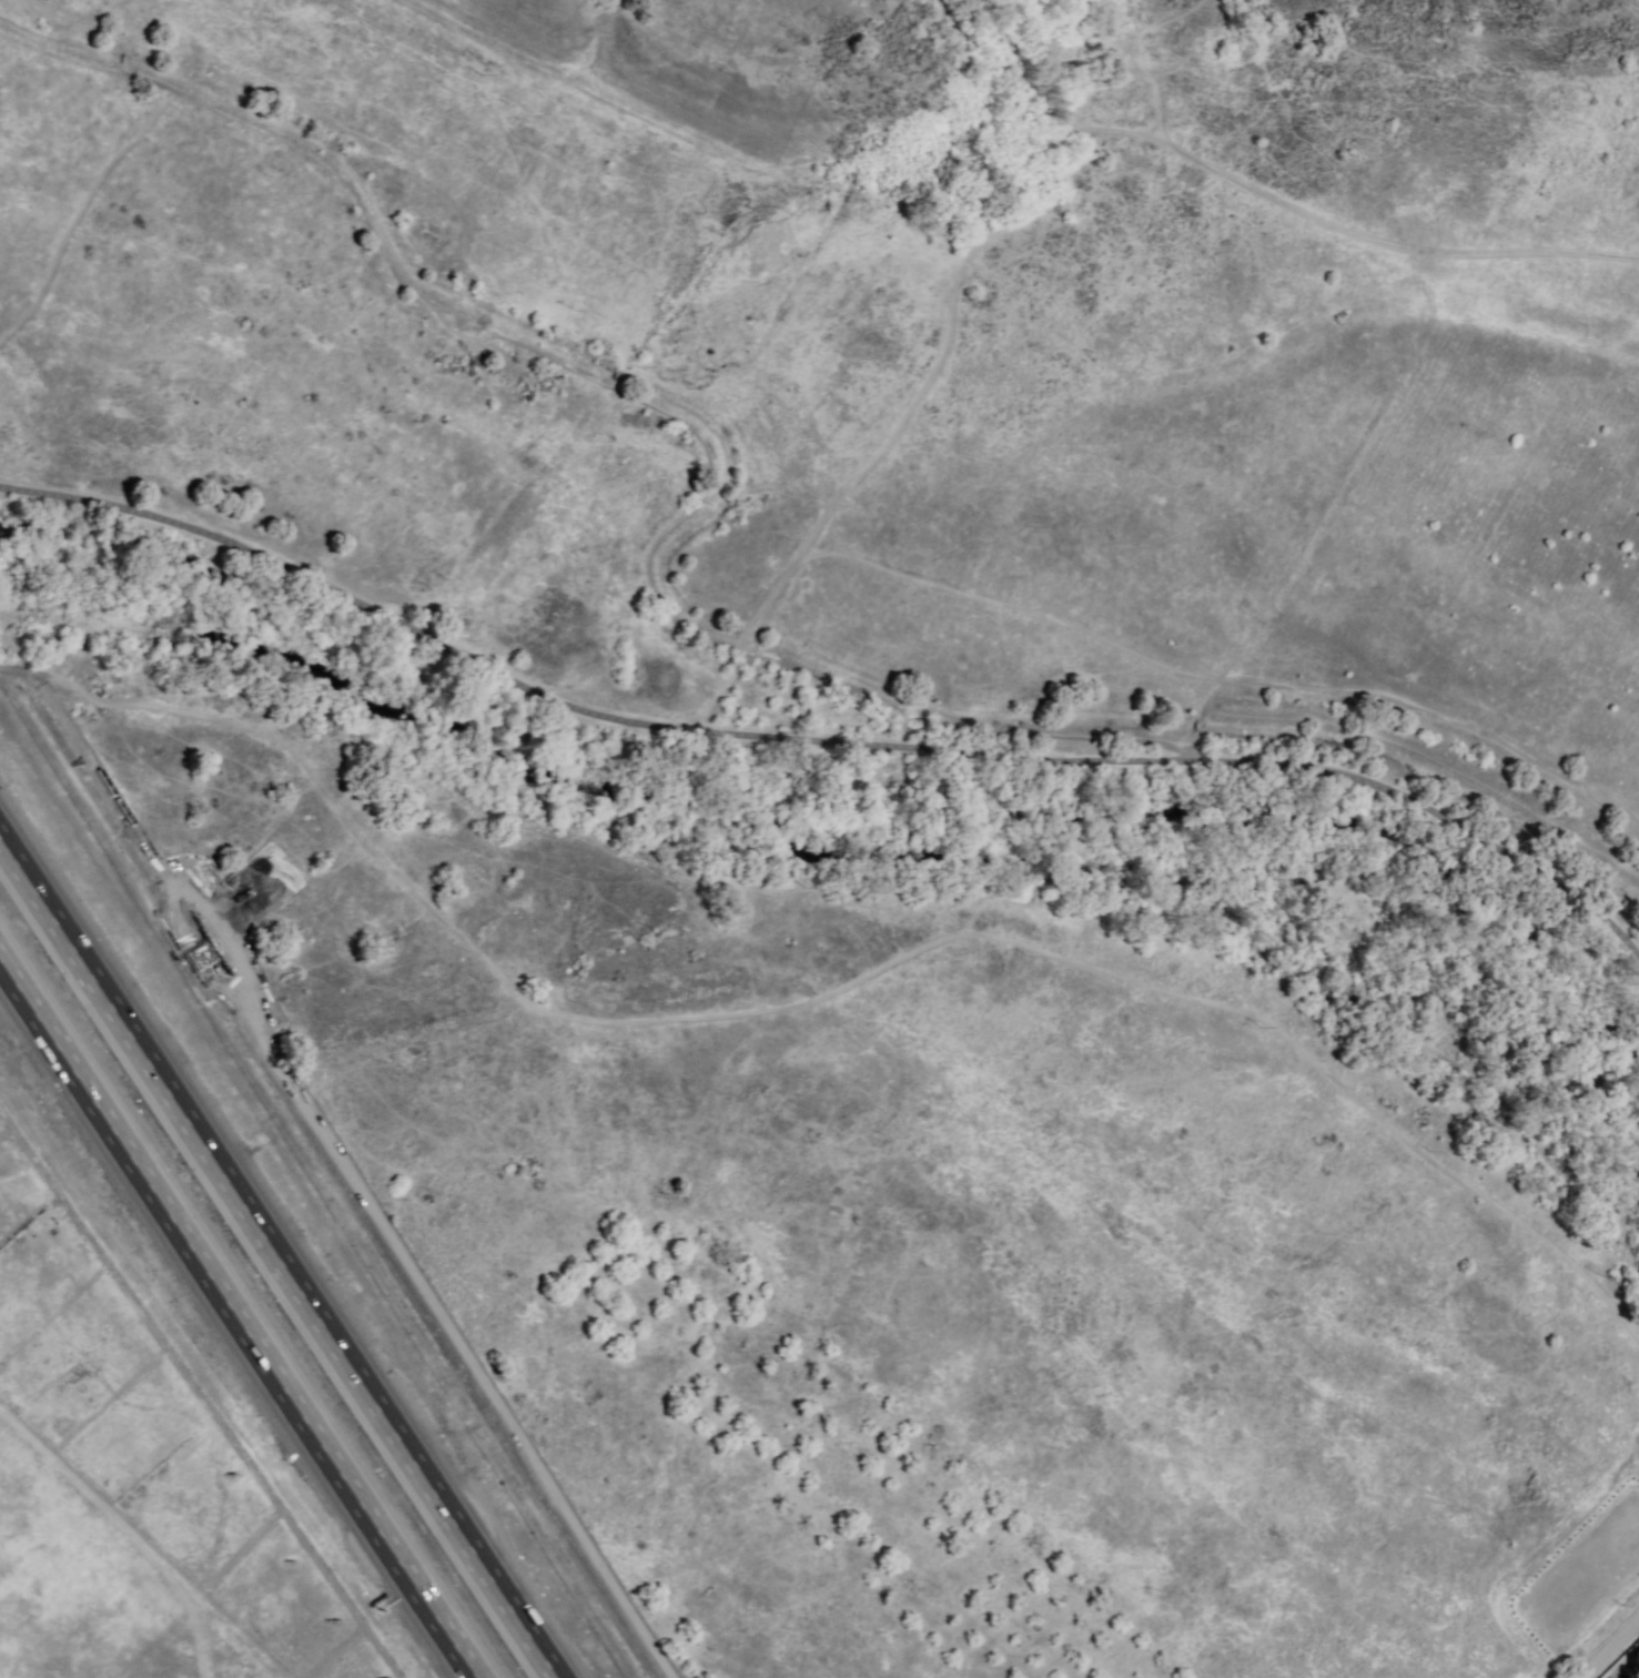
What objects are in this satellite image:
road: (1123, 46)
road: (125, 60)
road: (1013, 164)
road: (65, 189)
road: (617, 377)
road: (666, 423)
road: (499, 538)
road: (1235, 668)
road: (1217, 687)
road: (1443, 725)
road: (1202, 728)
road: (822, 740)
road: (827, 998)
road: (345, 1182)
road: (277, 1258)
road: (237, 1320)
parking lot: (1586, 1586)
road: (1609, 1648)

